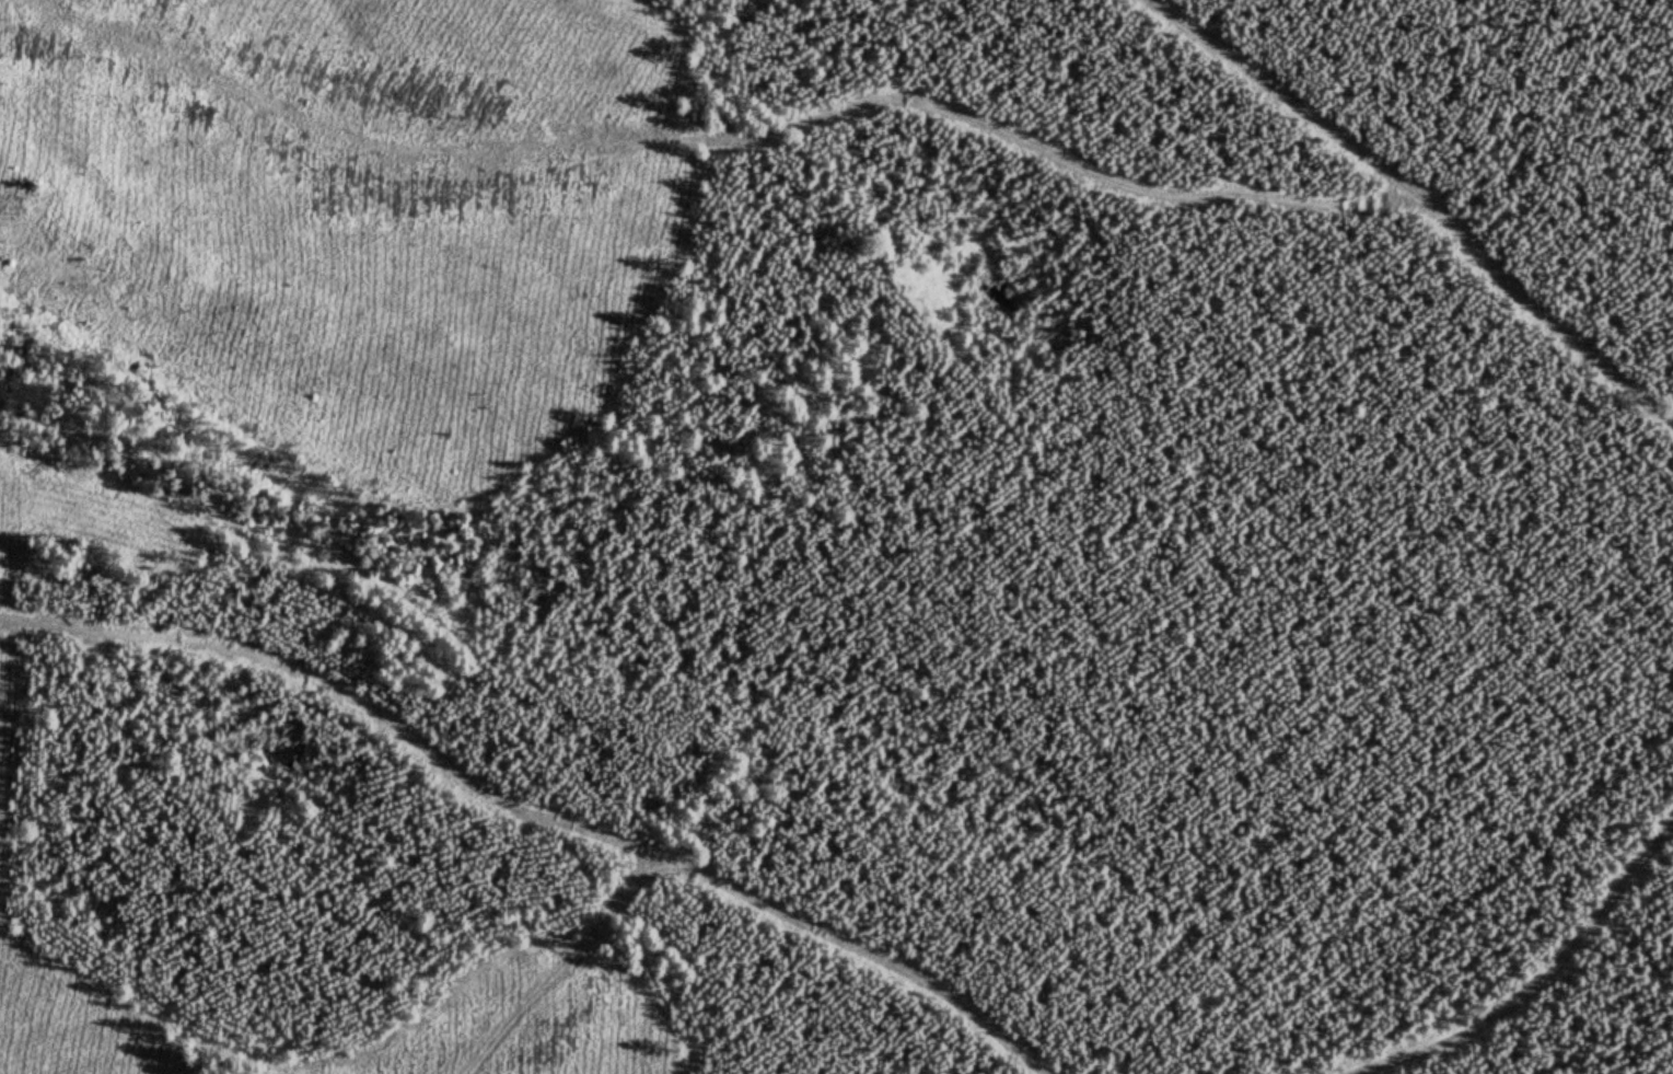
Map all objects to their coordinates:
road: (1212, 15)
road: (1422, 196)
road: (531, 812)
road: (1531, 984)

